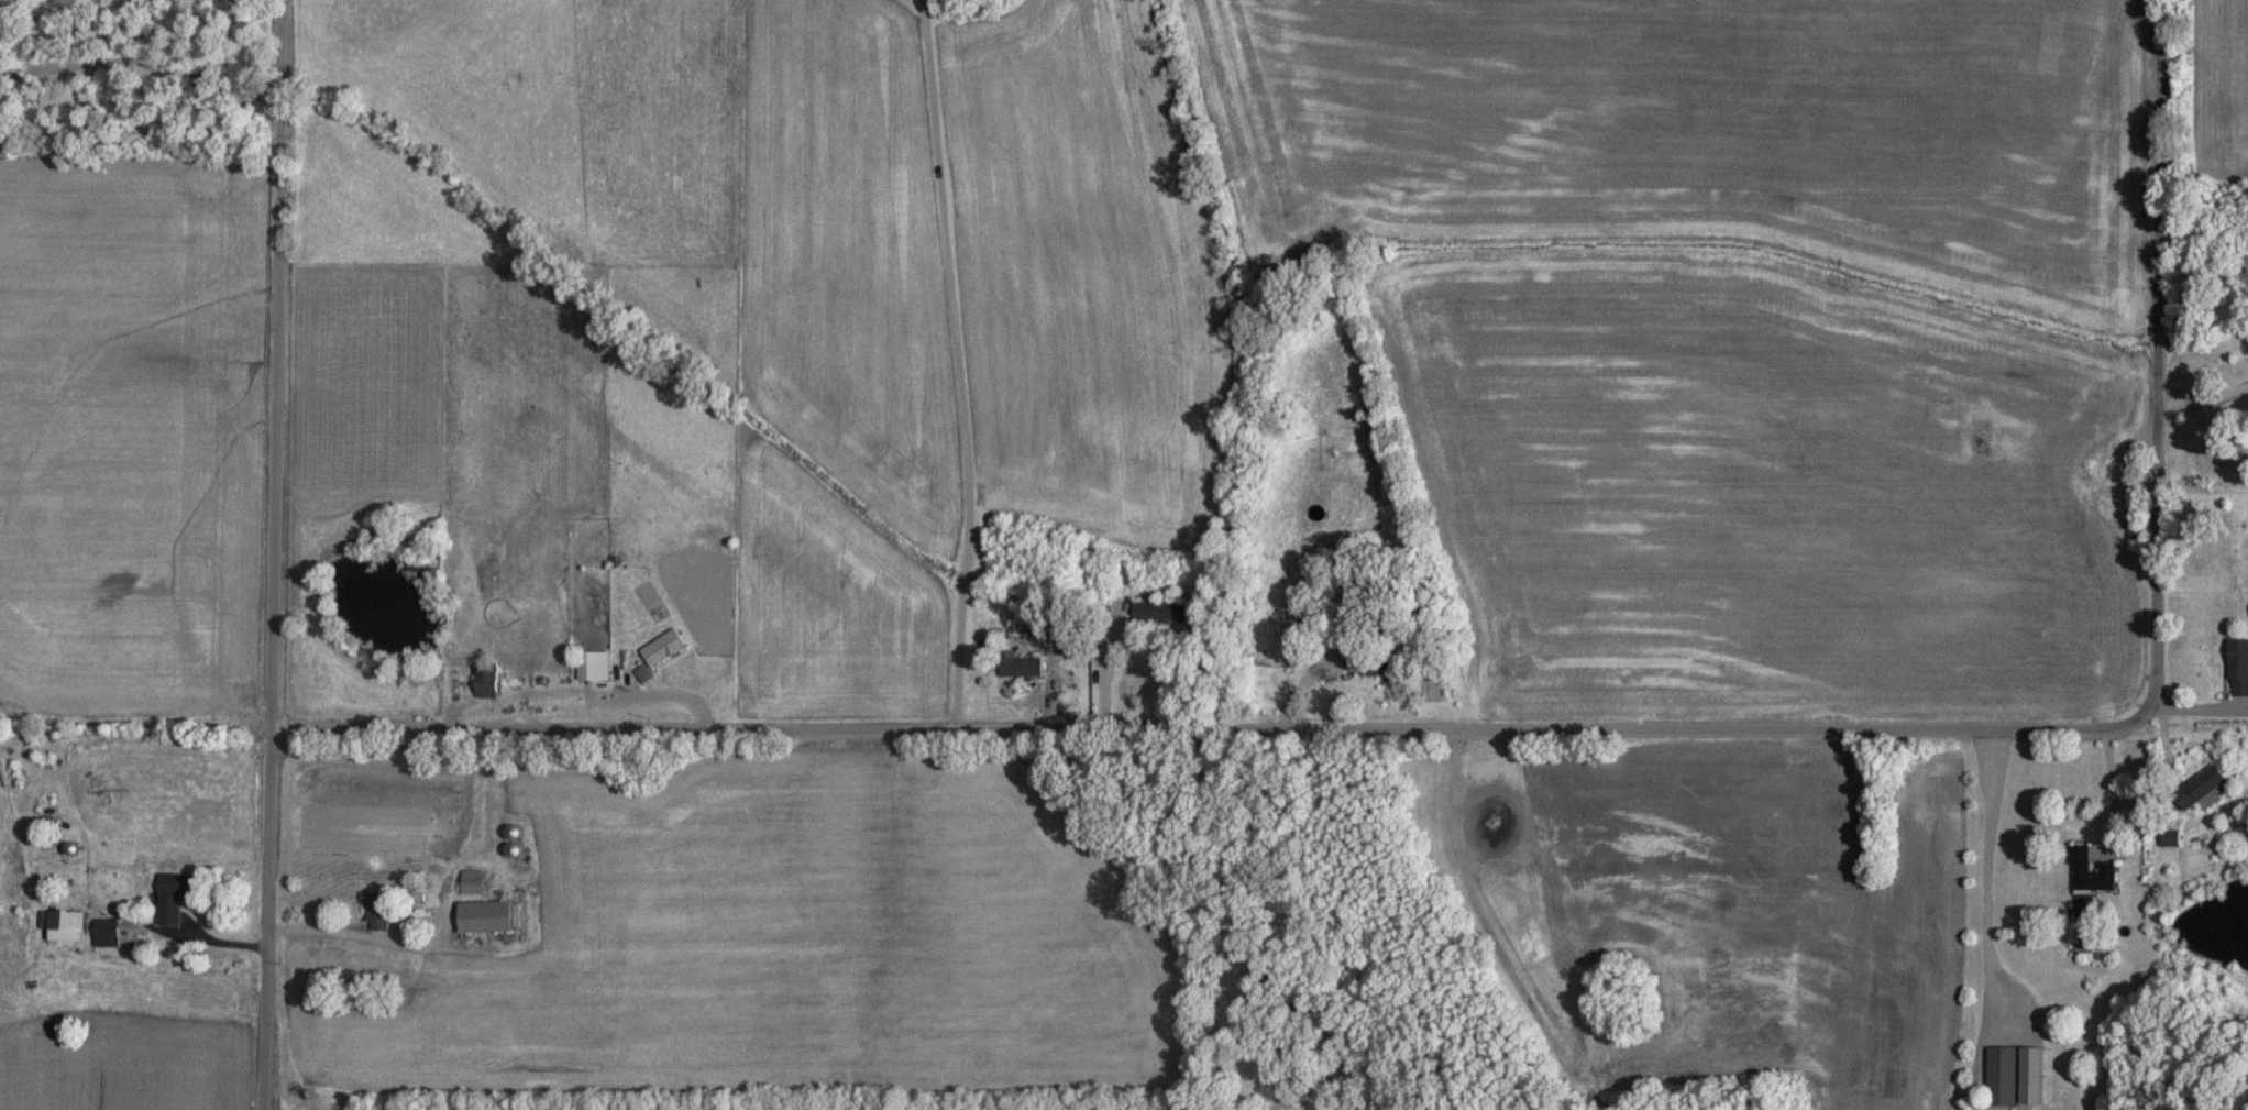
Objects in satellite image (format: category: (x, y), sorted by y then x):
road: (142, 66)
road: (956, 362)
road: (2201, 403)
road: (2155, 439)
road: (275, 554)
building: (1159, 613)
building: (1071, 644)
building: (663, 648)
building: (1363, 658)
building: (594, 667)
building: (1022, 668)
road: (1105, 669)
building: (487, 681)
road: (665, 693)
road: (1133, 724)
road: (929, 771)
road: (2123, 784)
building: (2202, 789)
building: (2170, 839)
building: (2091, 872)
road: (1993, 877)
building: (473, 882)
building: (175, 897)
building: (378, 914)
road: (1210, 916)
building: (486, 917)
building: (65, 926)
road: (327, 931)
building: (106, 933)
building: (2002, 1077)

